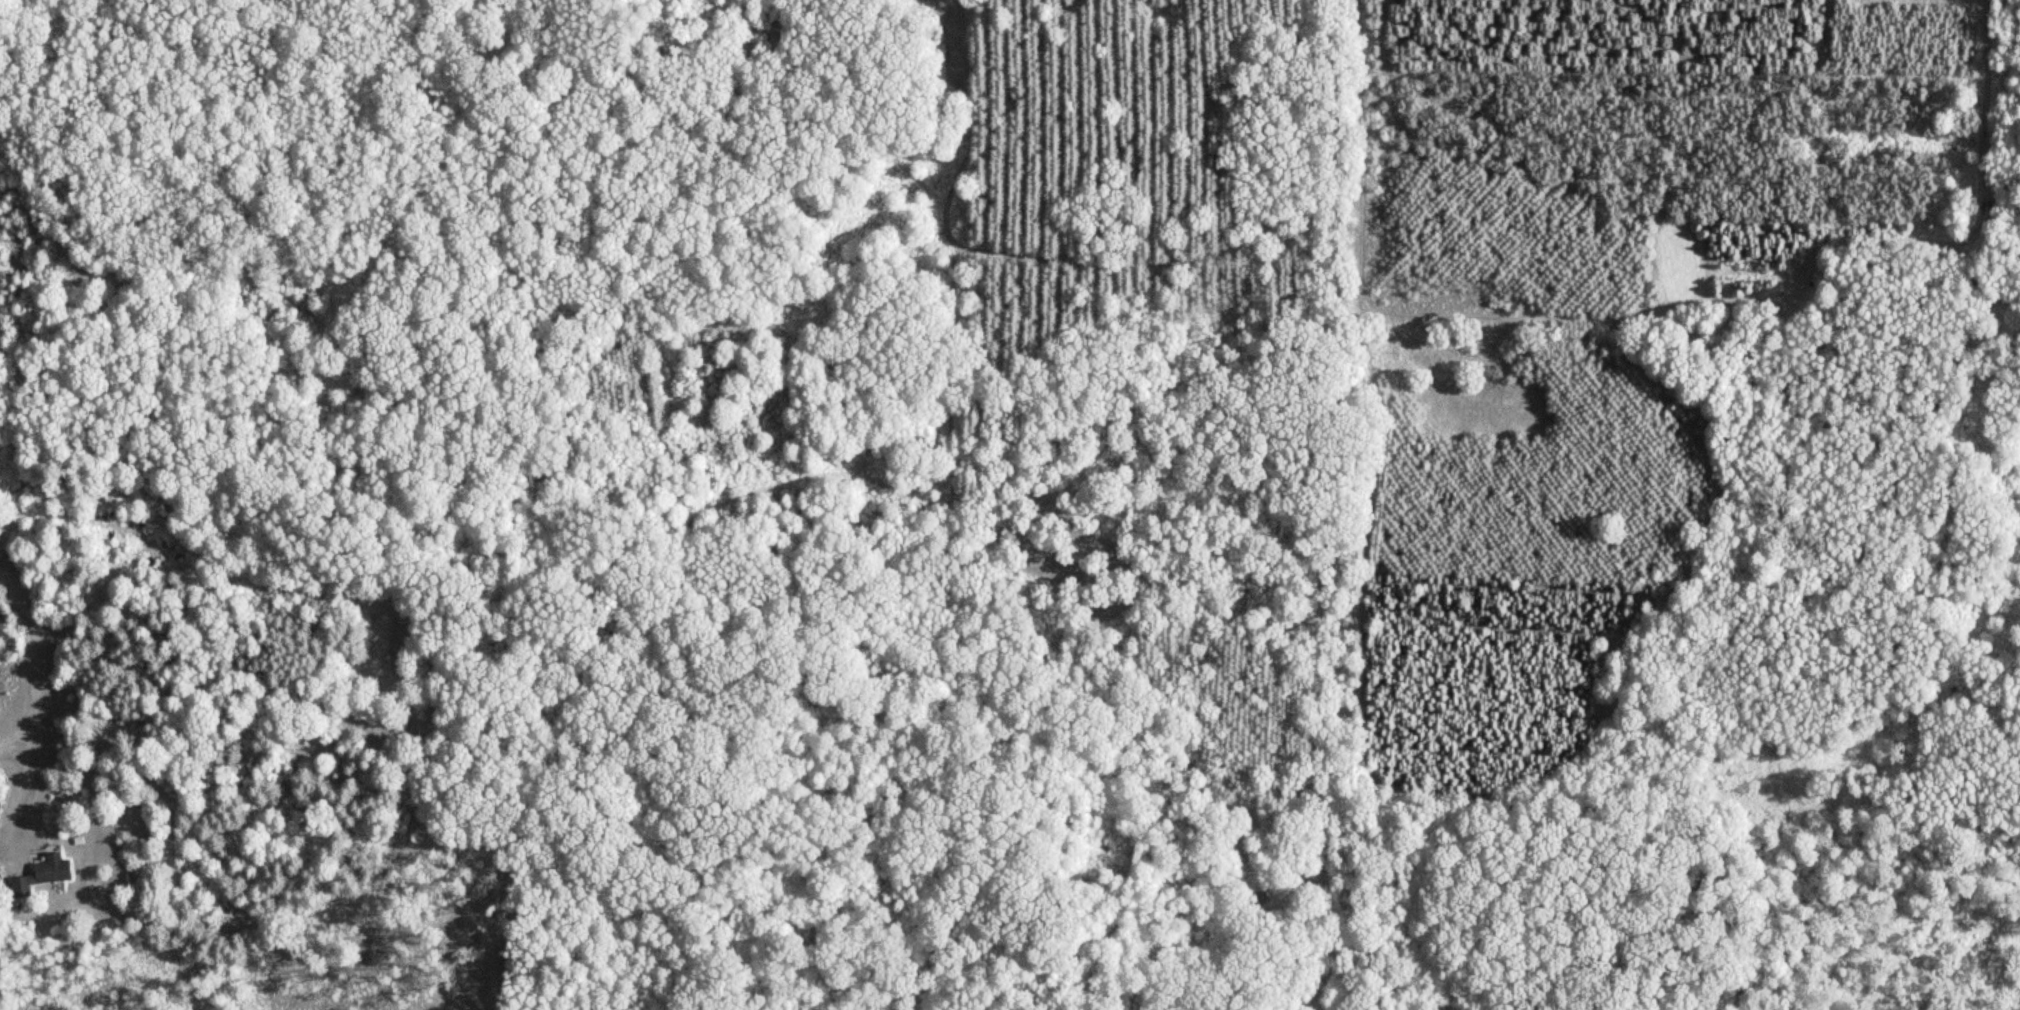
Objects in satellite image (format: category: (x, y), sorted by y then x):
road: (1320, 505)
road: (35, 702)
building: (41, 875)

